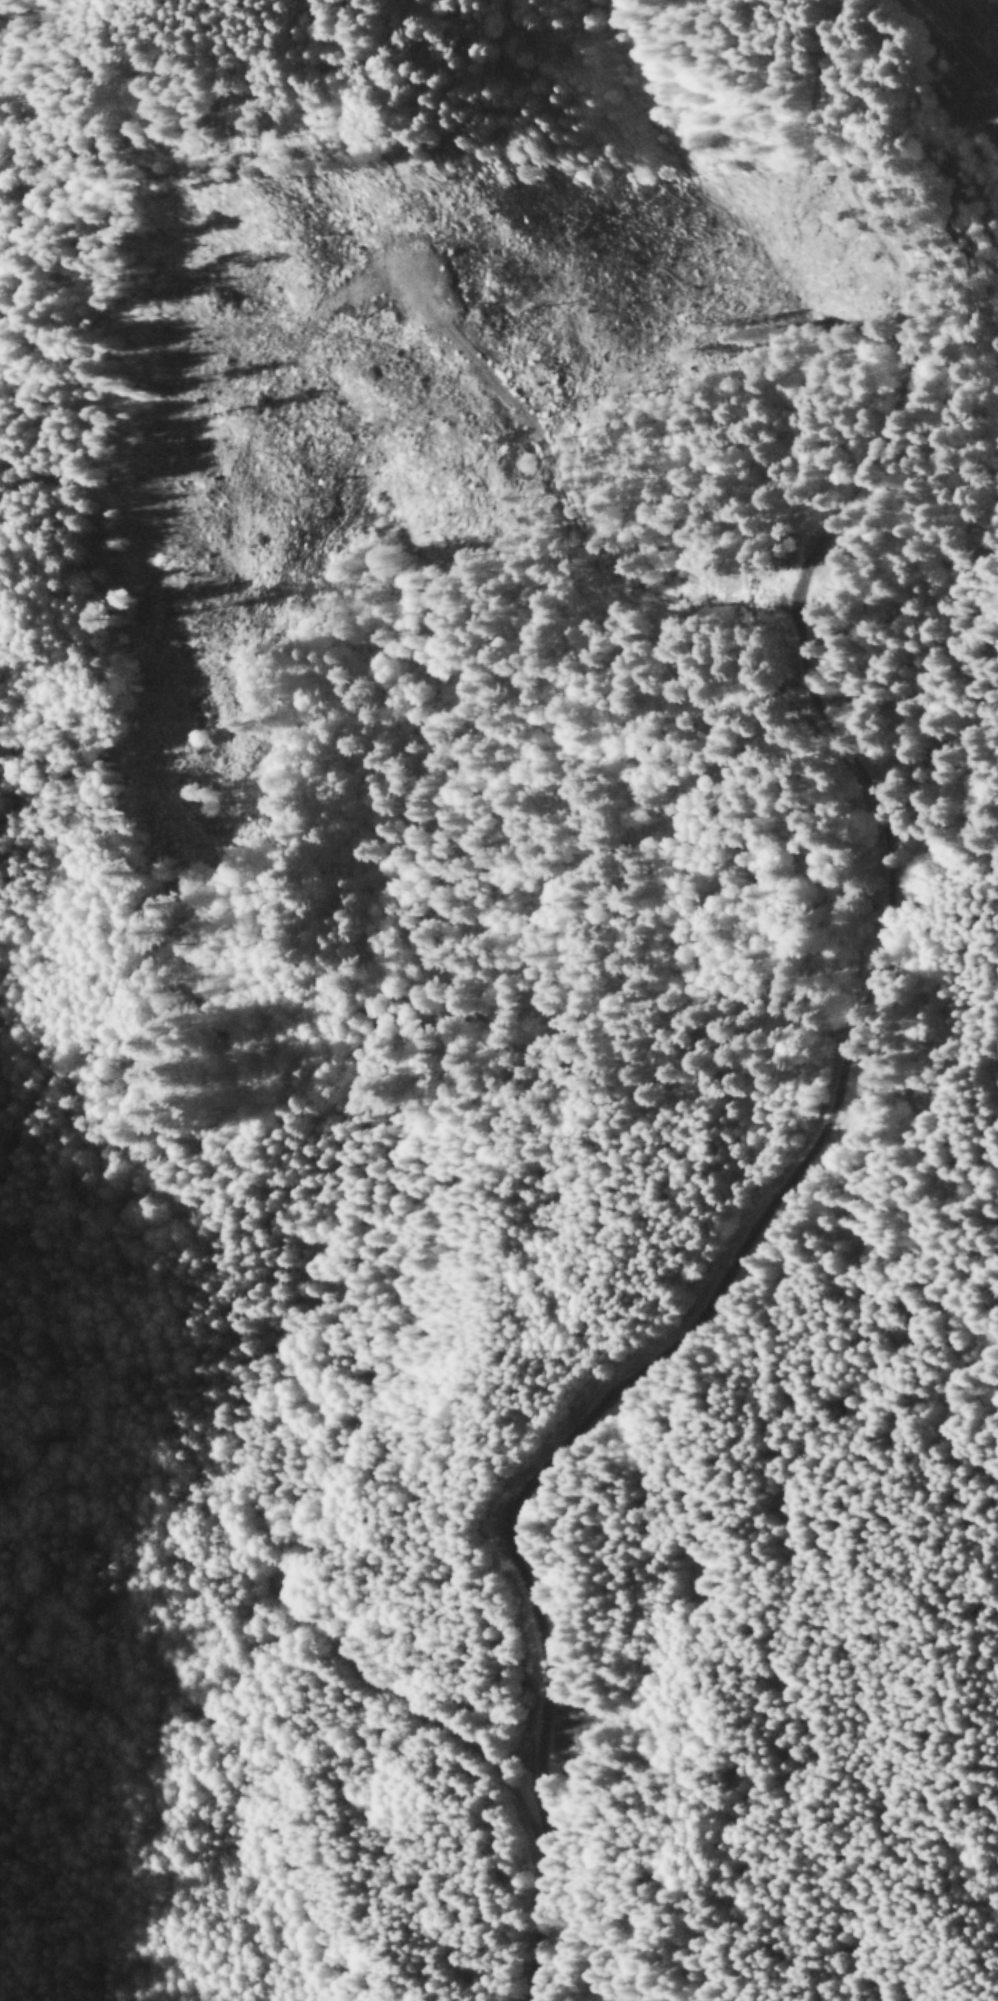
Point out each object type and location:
road: (715, 1295)

